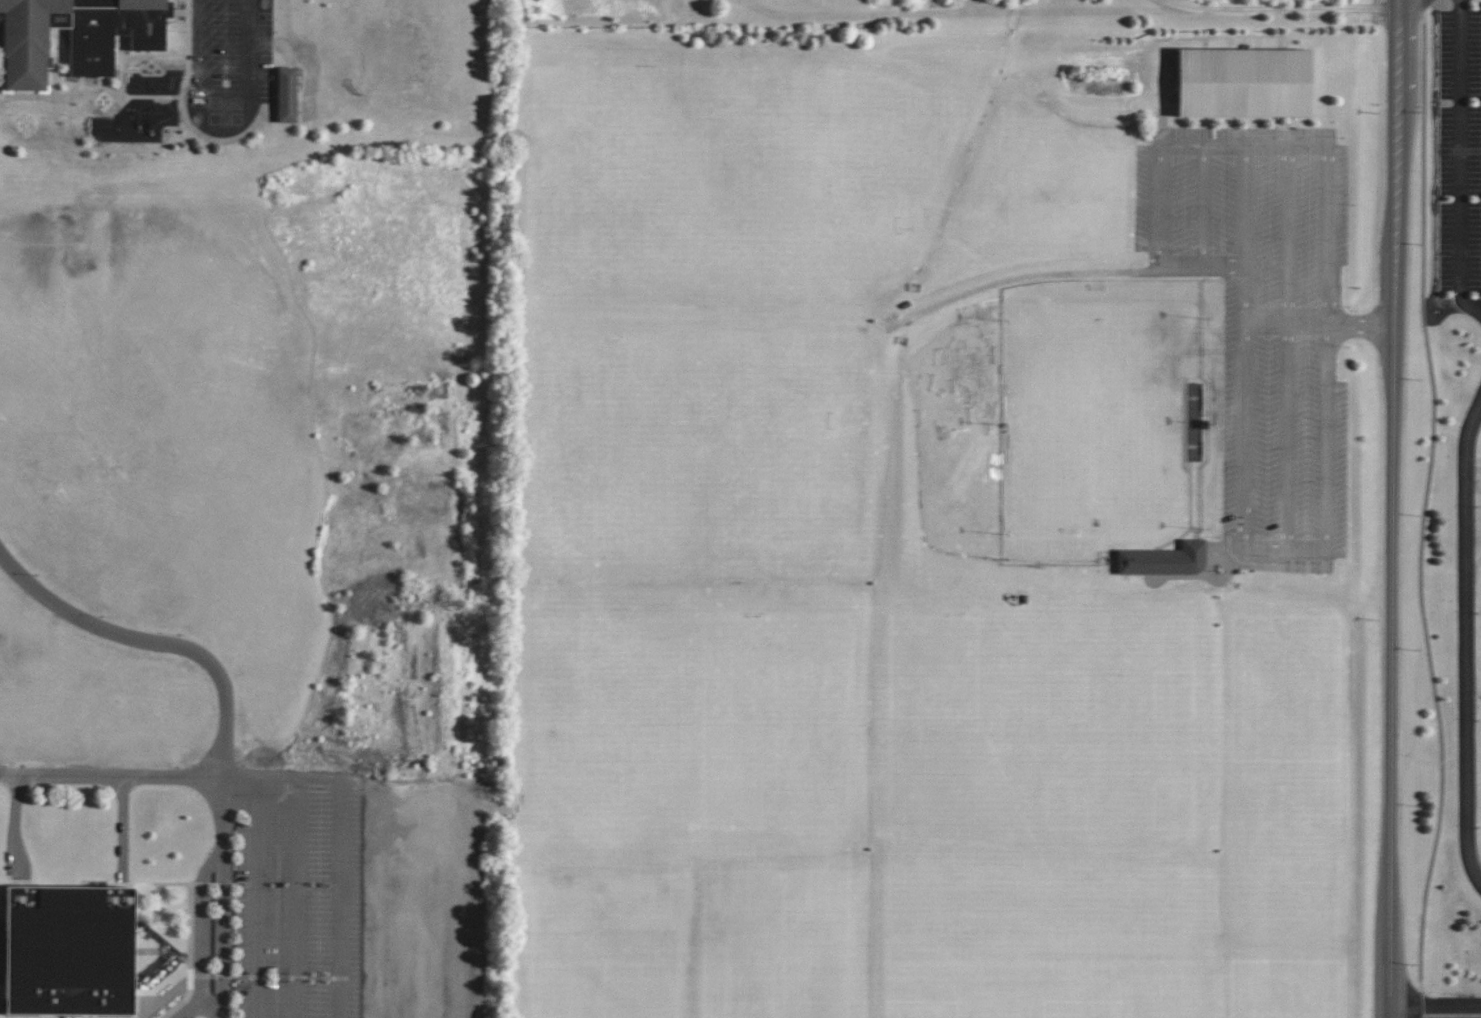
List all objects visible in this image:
road: (1178, 5)
road: (1424, 8)
road: (1065, 11)
building: (76, 35)
road: (250, 49)
building: (1244, 82)
building: (287, 94)
road: (1221, 145)
road: (1180, 146)
road: (1456, 163)
road: (1325, 191)
road: (1242, 233)
road: (1286, 233)
road: (1197, 263)
road: (1317, 320)
road: (1285, 432)
road: (1425, 503)
road: (1394, 509)
road: (1283, 544)
building: (1164, 560)
road: (1470, 639)
road: (156, 641)
road: (178, 780)
road: (22, 822)
road: (125, 824)
road: (225, 900)
road: (259, 900)
road: (297, 901)
road: (337, 901)
road: (200, 936)
building: (69, 951)
road: (1420, 1003)
road: (191, 1010)
road: (1436, 1013)

